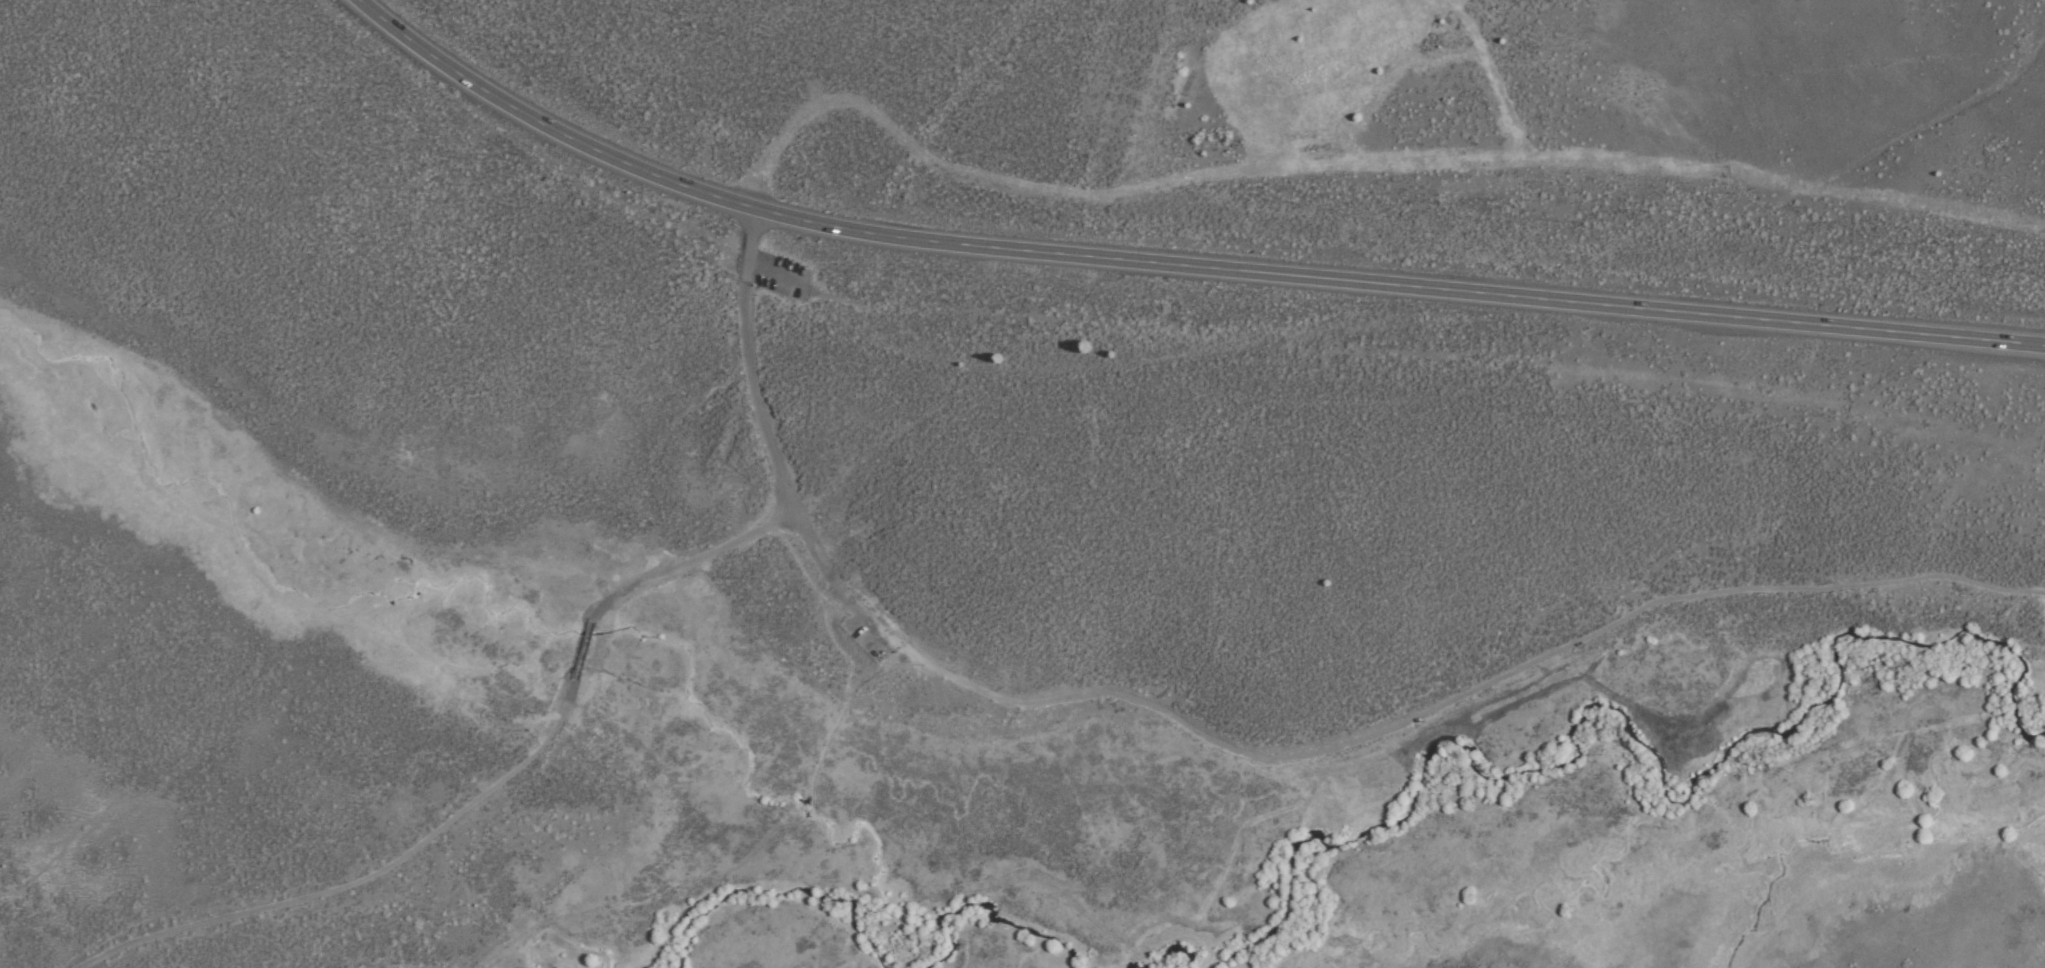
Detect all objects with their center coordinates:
road: (1172, 264)
road: (766, 444)
parking lot: (866, 623)
road: (1521, 663)
road: (950, 673)
road: (483, 791)
road: (805, 810)

